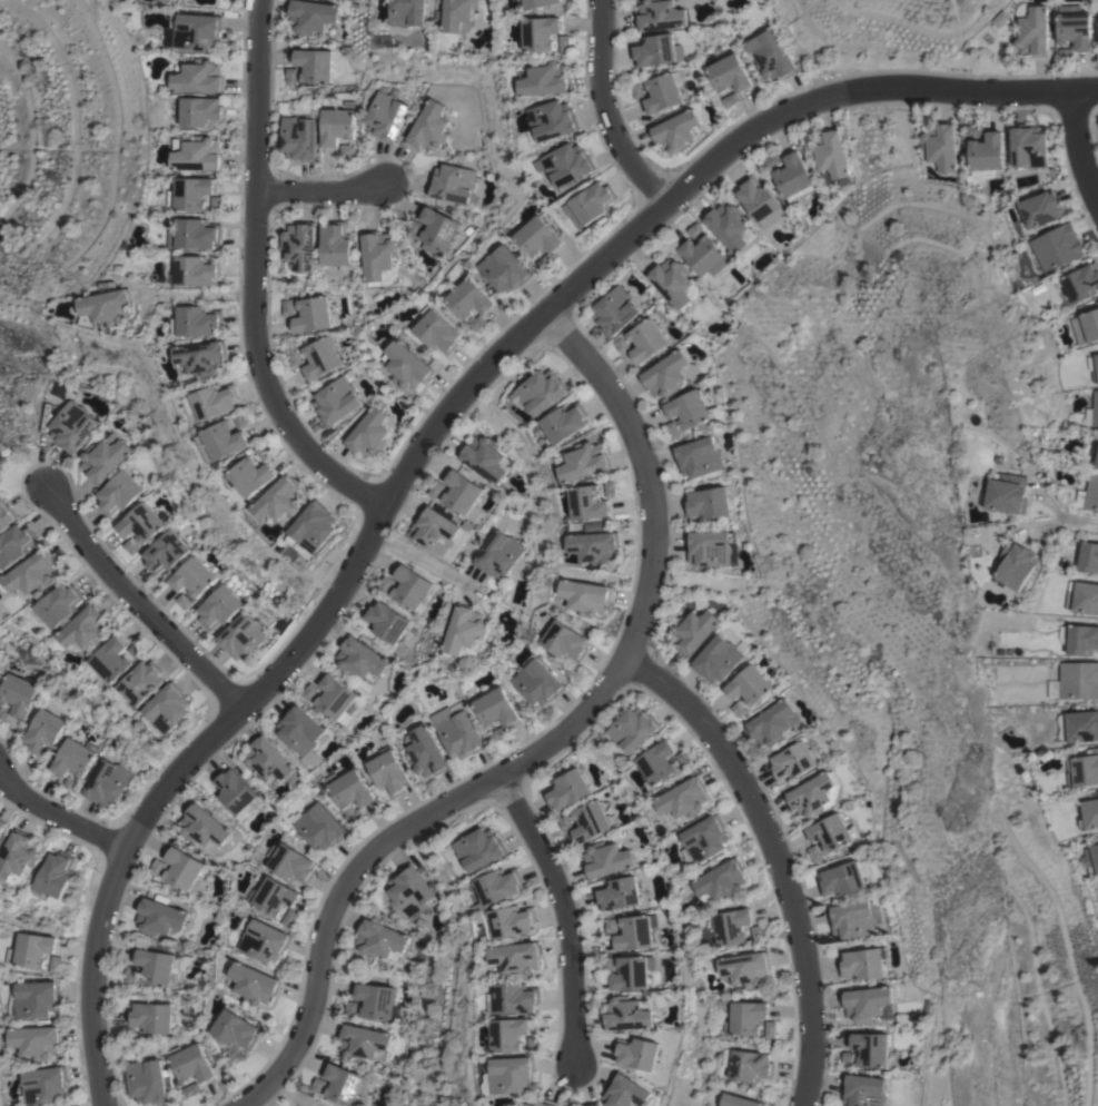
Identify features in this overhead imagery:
building: (538, 3)
building: (408, 12)
building: (459, 14)
building: (660, 14)
building: (310, 16)
building: (1074, 28)
building: (1030, 29)
building: (198, 31)
building: (541, 32)
building: (565, 42)
building: (656, 50)
building: (771, 55)
building: (315, 65)
building: (730, 73)
building: (291, 76)
building: (198, 77)
building: (546, 79)
building: (637, 90)
building: (664, 91)
building: (730, 99)
road: (603, 109)
building: (201, 111)
building: (386, 116)
building: (552, 120)
building: (338, 124)
building: (429, 127)
building: (675, 131)
building: (971, 131)
building: (299, 138)
building: (1028, 145)
building: (940, 147)
road: (1077, 148)
building: (829, 152)
building: (197, 154)
building: (986, 155)
building: (773, 160)
building: (566, 162)
building: (793, 175)
building: (452, 182)
road: (318, 191)
building: (194, 192)
building: (760, 200)
building: (215, 201)
building: (591, 204)
building: (1041, 208)
building: (729, 226)
building: (412, 228)
building: (437, 230)
building: (695, 230)
building: (195, 234)
building: (538, 236)
building: (336, 244)
building: (300, 245)
building: (1057, 247)
building: (705, 255)
building: (379, 257)
building: (545, 261)
building: (505, 269)
building: (196, 270)
road: (251, 277)
building: (1081, 282)
building: (673, 283)
road: (194, 295)
building: (469, 298)
building: (1097, 303)
building: (112, 306)
building: (288, 307)
building: (614, 310)
building: (313, 315)
building: (197, 320)
building: (478, 323)
building: (1086, 326)
building: (437, 330)
building: (646, 340)
building: (201, 357)
building: (295, 358)
building: (322, 358)
building: (407, 365)
building: (1094, 366)
building: (669, 374)
building: (541, 391)
building: (336, 401)
building: (212, 402)
building: (692, 407)
building: (1094, 409)
building: (240, 421)
building: (565, 422)
road: (433, 425)
building: (73, 426)
building: (673, 429)
building: (370, 432)
building: (221, 441)
building: (264, 452)
building: (1095, 452)
building: (485, 457)
building: (699, 457)
building: (103, 458)
building: (584, 462)
building: (251, 476)
building: (436, 488)
building: (612, 488)
building: (119, 492)
building: (462, 492)
building: (1089, 493)
building: (1006, 494)
building: (280, 500)
building: (588, 502)
building: (708, 503)
building: (7, 513)
road: (1066, 516)
building: (141, 523)
building: (314, 527)
building: (438, 531)
building: (16, 546)
building: (130, 546)
building: (595, 546)
building: (710, 547)
building: (165, 552)
building: (499, 554)
building: (1088, 556)
road: (419, 559)
building: (1016, 565)
building: (32, 575)
building: (192, 576)
building: (385, 583)
building: (412, 587)
building: (586, 596)
building: (1086, 596)
building: (60, 604)
road: (138, 605)
building: (219, 606)
building: (385, 620)
building: (86, 629)
building: (464, 629)
building: (692, 631)
building: (243, 635)
building: (1081, 639)
building: (565, 641)
building: (137, 651)
building: (719, 658)
building: (362, 659)
building: (110, 663)
building: (1078, 680)
building: (142, 682)
building: (537, 682)
building: (750, 685)
building: (309, 691)
building: (19, 693)
building: (335, 697)
building: (496, 708)
building: (167, 711)
building: (771, 722)
building: (1078, 727)
building: (634, 728)
building: (458, 730)
building: (44, 731)
building: (300, 731)
building: (498, 733)
road: (551, 741)
building: (425, 752)
building: (75, 757)
building: (793, 759)
building: (270, 761)
building: (659, 764)
building: (1084, 769)
building: (389, 771)
building: (108, 781)
building: (69, 783)
building: (566, 789)
building: (236, 792)
building: (349, 792)
building: (1097, 793)
building: (814, 794)
building: (684, 798)
building: (1089, 814)
road: (57, 817)
building: (591, 821)
building: (2, 826)
building: (202, 826)
building: (320, 827)
building: (832, 832)
building: (704, 840)
building: (481, 849)
building: (813, 853)
building: (19, 857)
road: (776, 857)
building: (1091, 858)
building: (606, 859)
building: (290, 863)
building: (157, 867)
building: (184, 870)
building: (57, 875)
building: (843, 877)
building: (721, 881)
building: (499, 885)
building: (410, 890)
building: (617, 892)
building: (274, 896)
road: (566, 910)
building: (160, 916)
building: (289, 917)
building: (853, 918)
building: (510, 921)
building: (732, 926)
building: (635, 934)
building: (264, 940)
building: (379, 940)
building: (32, 949)
building: (517, 957)
building: (56, 964)
building: (862, 964)
building: (157, 967)
building: (743, 969)
building: (633, 972)
building: (131, 974)
building: (254, 982)
building: (514, 998)
building: (36, 999)
building: (376, 1001)
building: (868, 1003)
building: (352, 1007)
building: (626, 1014)
building: (151, 1017)
building: (744, 1018)
building: (235, 1029)
building: (769, 1029)
building: (510, 1035)
building: (37, 1040)
building: (363, 1043)
building: (871, 1048)
building: (640, 1053)
building: (191, 1063)
building: (748, 1065)
building: (512, 1075)
building: (146, 1080)
building: (345, 1084)
building: (46, 1085)
building: (192, 1089)
building: (863, 1090)
building: (629, 1093)
road: (289, 1095)
building: (736, 1100)
building: (543, 1102)
building: (595, 1104)

